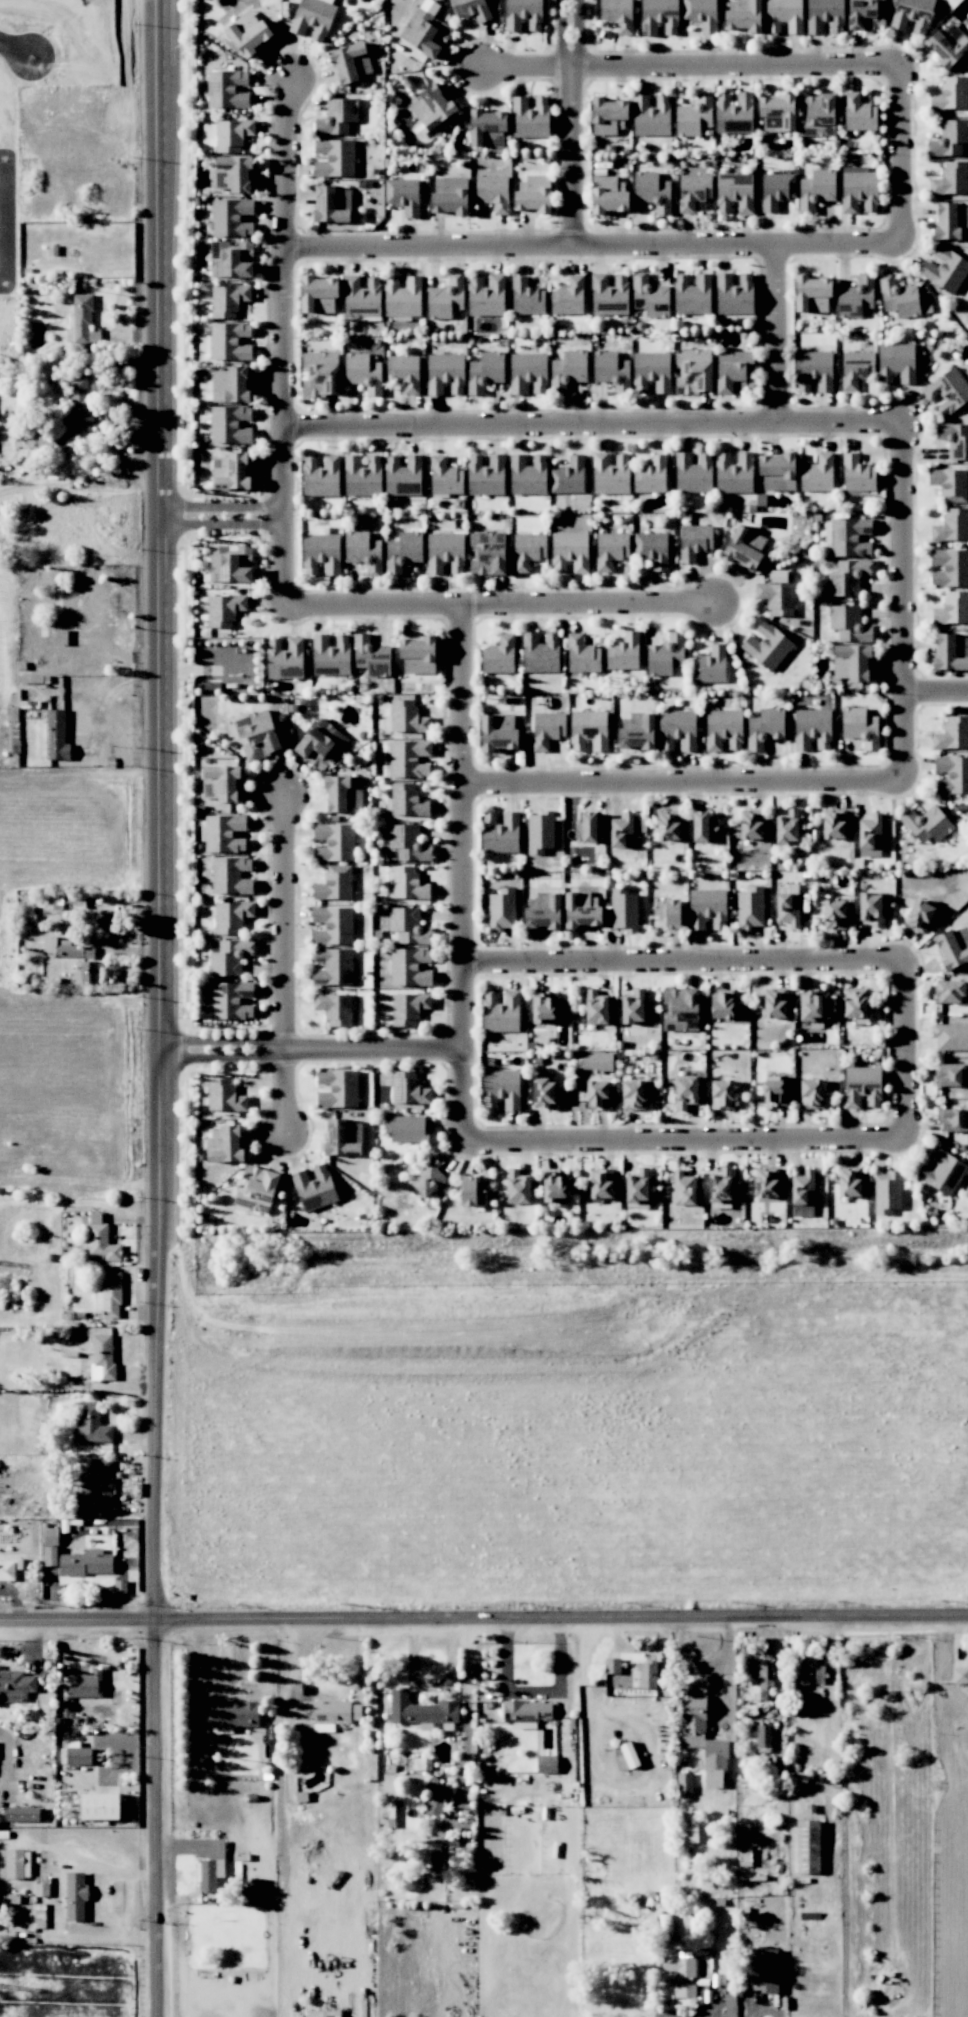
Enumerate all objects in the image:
building: (471, 9)
building: (617, 14)
building: (701, 14)
building: (743, 15)
building: (912, 15)
building: (659, 16)
building: (313, 18)
building: (248, 33)
building: (425, 33)
road: (561, 39)
road: (578, 39)
building: (947, 45)
road: (17, 49)
building: (354, 59)
road: (687, 60)
building: (227, 89)
building: (951, 94)
building: (432, 107)
building: (733, 113)
building: (777, 113)
building: (858, 113)
building: (816, 114)
building: (651, 115)
building: (608, 116)
building: (694, 116)
building: (337, 117)
building: (530, 118)
building: (487, 128)
building: (232, 134)
building: (949, 138)
road: (899, 151)
building: (334, 158)
road: (572, 161)
building: (233, 174)
building: (951, 179)
building: (816, 189)
building: (859, 189)
building: (776, 190)
building: (653, 191)
building: (693, 191)
building: (493, 192)
building: (734, 192)
building: (533, 194)
building: (403, 195)
building: (608, 195)
building: (450, 196)
building: (332, 204)
building: (231, 217)
building: (951, 221)
road: (10, 225)
road: (591, 244)
building: (230, 259)
building: (945, 269)
building: (318, 294)
building: (362, 294)
building: (735, 294)
building: (811, 294)
building: (609, 295)
building: (692, 295)
building: (856, 295)
building: (486, 296)
building: (649, 296)
building: (402, 297)
building: (527, 297)
building: (568, 297)
building: (898, 297)
building: (447, 299)
building: (228, 300)
building: (82, 318)
road: (773, 333)
building: (229, 341)
road: (282, 341)
building: (896, 363)
building: (856, 368)
building: (567, 370)
building: (611, 370)
building: (814, 370)
building: (651, 371)
building: (693, 371)
building: (364, 372)
building: (404, 372)
building: (484, 372)
building: (735, 372)
building: (445, 373)
building: (528, 373)
building: (320, 374)
building: (230, 385)
building: (947, 391)
building: (79, 400)
road: (592, 422)
building: (230, 424)
building: (954, 439)
building: (231, 470)
building: (777, 471)
building: (693, 473)
building: (734, 473)
building: (610, 474)
building: (818, 474)
building: (857, 474)
building: (485, 475)
building: (528, 475)
building: (651, 475)
building: (321, 476)
building: (362, 476)
building: (403, 476)
building: (568, 476)
building: (445, 477)
building: (950, 484)
road: (221, 515)
building: (952, 525)
building: (850, 537)
building: (694, 541)
building: (744, 548)
building: (610, 549)
building: (652, 549)
building: (528, 550)
building: (363, 551)
building: (403, 551)
building: (570, 551)
building: (445, 552)
building: (321, 553)
building: (487, 553)
building: (230, 564)
building: (950, 567)
building: (848, 577)
building: (776, 598)
road: (903, 601)
road: (504, 603)
building: (224, 609)
building: (952, 609)
building: (848, 623)
building: (767, 646)
building: (369, 652)
building: (623, 652)
building: (951, 652)
building: (540, 653)
building: (582, 654)
building: (331, 655)
building: (418, 655)
building: (499, 655)
building: (666, 655)
building: (285, 658)
building: (851, 662)
building: (710, 665)
road: (936, 690)
building: (407, 717)
building: (56, 727)
building: (764, 727)
building: (860, 727)
building: (547, 729)
building: (723, 729)
building: (812, 729)
building: (589, 730)
building: (677, 730)
building: (637, 731)
building: (498, 732)
building: (257, 734)
building: (964, 743)
building: (320, 744)
building: (409, 759)
building: (952, 774)
road: (682, 779)
building: (220, 783)
building: (343, 792)
building: (407, 800)
road: (42, 802)
building: (834, 824)
building: (926, 824)
building: (668, 825)
building: (751, 825)
building: (586, 827)
building: (703, 827)
building: (787, 827)
building: (621, 831)
building: (540, 832)
building: (224, 833)
building: (500, 833)
building: (339, 836)
building: (870, 836)
building: (408, 843)
building: (231, 875)
road: (461, 875)
building: (407, 883)
building: (334, 884)
building: (707, 908)
building: (750, 908)
building: (787, 908)
building: (870, 908)
building: (501, 909)
building: (623, 909)
building: (582, 910)
building: (543, 911)
building: (669, 913)
building: (834, 914)
building: (232, 916)
building: (919, 916)
building: (333, 925)
building: (408, 926)
building: (961, 935)
building: (229, 956)
building: (74, 959)
road: (682, 961)
building: (333, 966)
building: (409, 967)
road: (282, 969)
building: (949, 992)
building: (231, 1000)
building: (855, 1002)
building: (775, 1003)
building: (721, 1005)
building: (810, 1006)
building: (633, 1007)
road: (159, 1008)
building: (334, 1008)
building: (408, 1008)
building: (547, 1008)
building: (596, 1008)
building: (680, 1009)
building: (501, 1012)
building: (950, 1036)
road: (311, 1048)
road: (903, 1049)
building: (598, 1062)
road: (56, 1072)
building: (949, 1074)
building: (862, 1086)
building: (409, 1088)
building: (338, 1089)
building: (501, 1089)
building: (775, 1091)
building: (686, 1092)
building: (543, 1093)
building: (811, 1093)
building: (597, 1094)
building: (722, 1094)
building: (633, 1095)
building: (224, 1096)
building: (953, 1120)
building: (406, 1128)
building: (343, 1137)
road: (684, 1142)
building: (225, 1145)
building: (943, 1171)
building: (428, 1178)
building: (849, 1182)
building: (554, 1186)
building: (638, 1186)
building: (721, 1186)
building: (518, 1187)
building: (314, 1188)
building: (683, 1188)
building: (803, 1188)
building: (256, 1189)
building: (471, 1191)
building: (887, 1192)
building: (101, 1244)
building: (111, 1294)
building: (104, 1355)
building: (90, 1425)
building: (99, 1470)
building: (51, 1536)
building: (85, 1563)
building: (5, 1570)
road: (483, 1617)
building: (804, 1663)
building: (630, 1675)
building: (960, 1675)
building: (762, 1677)
building: (16, 1684)
building: (83, 1684)
building: (415, 1707)
building: (324, 1711)
building: (526, 1711)
building: (234, 1714)
building: (763, 1736)
building: (78, 1754)
building: (546, 1764)
building: (716, 1778)
building: (684, 1785)
building: (436, 1798)
building: (99, 1806)
building: (21, 1814)
building: (687, 1832)
building: (808, 1845)
building: (213, 1861)
building: (14, 1864)
building: (75, 1881)
building: (764, 1970)
building: (680, 1974)
building: (729, 2005)
road: (767, 2014)

